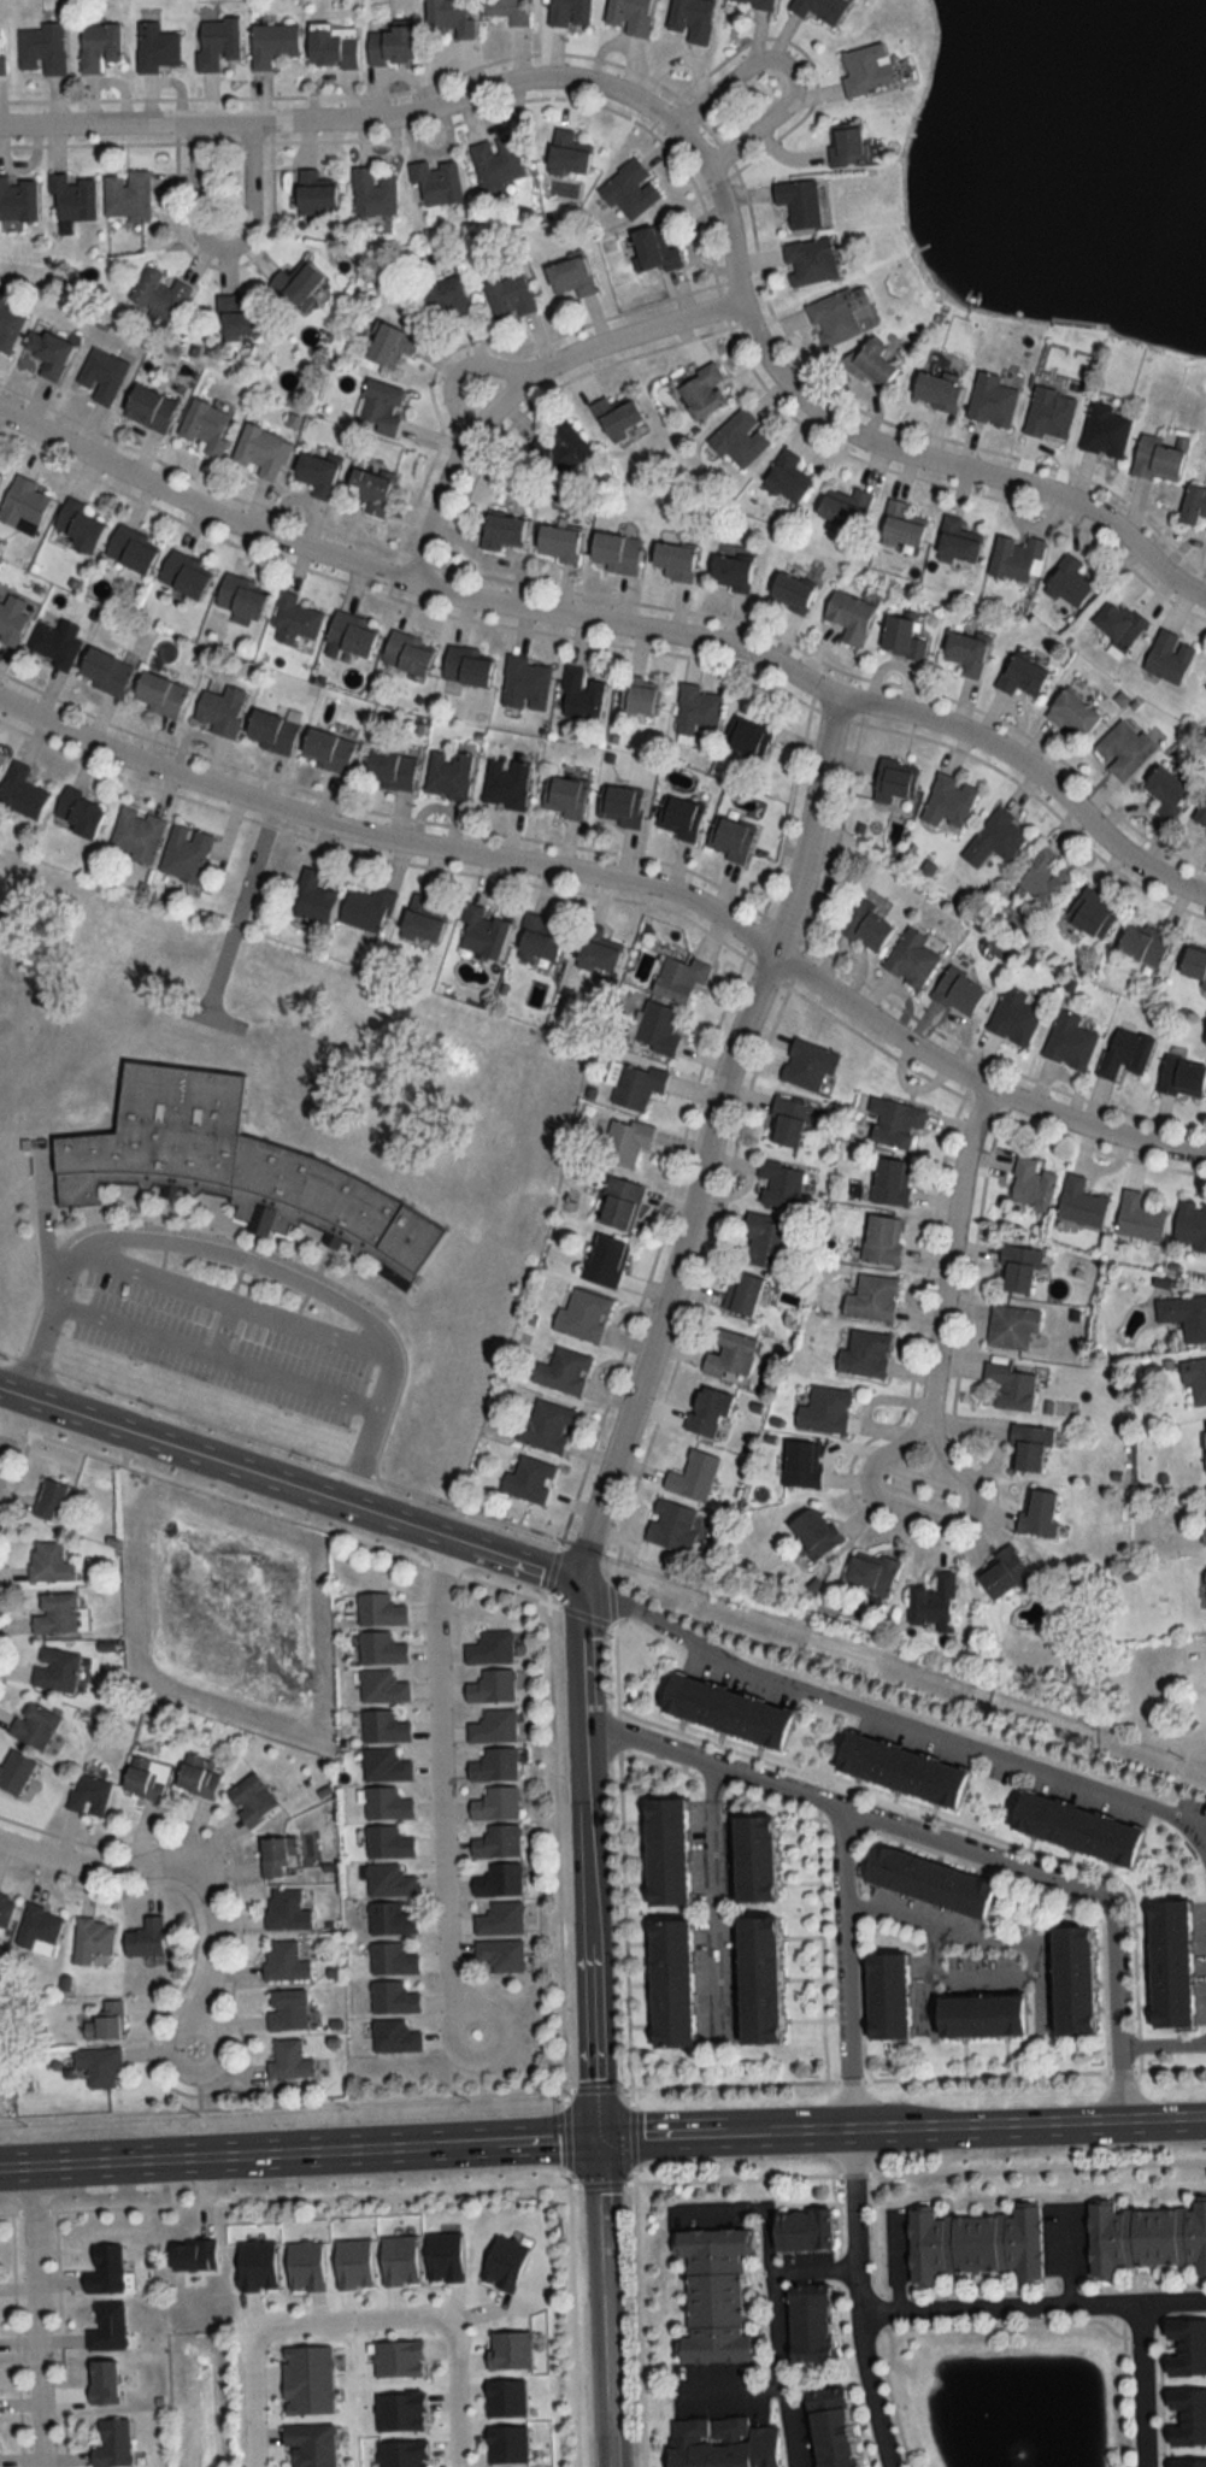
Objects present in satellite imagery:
building: (757, 2)
building: (819, 10)
building: (507, 11)
building: (569, 13)
building: (628, 16)
building: (448, 18)
building: (690, 19)
building: (216, 42)
building: (271, 42)
building: (99, 46)
building: (390, 46)
building: (155, 47)
building: (333, 47)
building: (41, 49)
building: (1, 64)
road: (787, 66)
building: (864, 70)
building: (845, 145)
building: (566, 154)
road: (695, 159)
building: (495, 163)
building: (436, 183)
building: (629, 190)
building: (372, 193)
building: (313, 194)
building: (127, 195)
building: (72, 196)
building: (17, 200)
building: (798, 205)
road: (224, 248)
building: (653, 249)
building: (810, 260)
building: (570, 277)
building: (298, 285)
building: (158, 293)
building: (508, 296)
building: (445, 299)
building: (836, 314)
building: (236, 318)
building: (8, 326)
building: (388, 345)
building: (47, 352)
building: (871, 363)
building: (102, 376)
road: (517, 383)
building: (933, 389)
building: (701, 390)
building: (992, 400)
building: (378, 406)
building: (149, 407)
building: (1049, 412)
building: (616, 416)
building: (204, 426)
building: (1105, 430)
building: (740, 438)
building: (561, 448)
building: (263, 451)
building: (1158, 458)
building: (0, 465)
building: (316, 473)
building: (786, 477)
building: (369, 489)
building: (23, 504)
building: (1193, 504)
building: (842, 507)
building: (80, 525)
building: (900, 528)
building: (501, 531)
building: (957, 540)
building: (558, 542)
building: (131, 547)
building: (614, 552)
building: (1016, 558)
building: (672, 560)
building: (730, 571)
building: (183, 572)
building: (1069, 581)
building: (789, 590)
building: (240, 595)
building: (848, 616)
building: (12, 617)
building: (293, 619)
building: (1118, 623)
road: (619, 625)
building: (352, 632)
building: (901, 637)
building: (54, 642)
building: (407, 652)
building: (965, 652)
building: (1167, 655)
building: (467, 665)
building: (104, 671)
building: (1022, 675)
building: (525, 683)
building: (159, 694)
building: (580, 694)
building: (641, 695)
building: (220, 710)
building: (698, 711)
building: (1072, 713)
building: (270, 729)
building: (748, 735)
building: (1123, 748)
building: (326, 749)
building: (1, 756)
building: (389, 770)
building: (447, 773)
building: (894, 779)
building: (505, 783)
building: (1165, 789)
building: (20, 790)
building: (564, 796)
building: (948, 802)
building: (622, 805)
building: (1201, 811)
building: (80, 812)
building: (678, 817)
building: (136, 835)
road: (383, 836)
building: (995, 837)
building: (729, 838)
building: (186, 853)
building: (1045, 877)
building: (312, 897)
building: (366, 909)
building: (1090, 913)
building: (420, 922)
building: (867, 926)
building: (481, 932)
building: (537, 941)
building: (1142, 943)
building: (596, 950)
building: (911, 959)
building: (1194, 964)
building: (680, 977)
building: (958, 991)
building: (1013, 1017)
building: (657, 1028)
building: (1069, 1041)
building: (1125, 1052)
building: (808, 1064)
building: (1182, 1077)
road: (976, 1079)
building: (636, 1085)
building: (788, 1121)
building: (898, 1124)
road: (705, 1138)
building: (625, 1141)
building: (236, 1168)
building: (892, 1180)
building: (780, 1184)
building: (1031, 1184)
building: (1081, 1202)
building: (619, 1203)
building: (1139, 1217)
building: (1190, 1224)
building: (882, 1240)
building: (766, 1241)
building: (605, 1261)
building: (1017, 1268)
road: (53, 1273)
road: (301, 1284)
road: (941, 1284)
building: (742, 1293)
building: (871, 1297)
road: (234, 1302)
building: (583, 1315)
building: (1184, 1315)
building: (1012, 1326)
road: (223, 1327)
building: (730, 1354)
building: (864, 1354)
road: (218, 1355)
building: (564, 1371)
building: (1195, 1380)
building: (1011, 1385)
building: (707, 1409)
building: (824, 1409)
road: (6, 1415)
building: (546, 1426)
building: (1205, 1430)
building: (1029, 1448)
building: (802, 1464)
building: (694, 1476)
building: (529, 1480)
road: (288, 1485)
building: (58, 1502)
building: (1039, 1512)
building: (1204, 1524)
building: (671, 1525)
building: (814, 1535)
building: (49, 1562)
building: (871, 1572)
building: (1002, 1573)
building: (1205, 1583)
building: (934, 1602)
building: (380, 1611)
building: (57, 1614)
building: (381, 1648)
building: (490, 1648)
building: (55, 1670)
building: (382, 1686)
building: (492, 1686)
road: (551, 1707)
building: (725, 1711)
road: (883, 1715)
building: (34, 1725)
building: (384, 1726)
building: (494, 1726)
building: (386, 1765)
building: (495, 1765)
building: (901, 1770)
building: (14, 1772)
building: (146, 1778)
building: (196, 1778)
road: (439, 1792)
building: (89, 1795)
building: (252, 1800)
building: (387, 1803)
building: (496, 1803)
road: (1204, 1827)
building: (1076, 1829)
road: (1204, 1835)
road: (953, 1841)
building: (388, 1842)
building: (498, 1842)
building: (666, 1851)
building: (276, 1855)
road: (587, 1859)
building: (753, 1859)
road: (182, 1873)
building: (389, 1880)
building: (499, 1880)
building: (928, 1880)
road: (720, 1896)
building: (6, 1909)
building: (286, 1909)
building: (390, 1919)
building: (501, 1919)
building: (39, 1926)
road: (988, 1935)
building: (146, 1938)
building: (92, 1939)
building: (501, 1955)
building: (393, 1959)
building: (284, 1961)
building: (1170, 1963)
road: (846, 1965)
road: (928, 1978)
building: (758, 1979)
building: (1072, 1979)
building: (671, 1983)
building: (887, 1996)
building: (393, 1997)
building: (287, 2009)
building: (979, 2016)
building: (104, 2023)
building: (395, 2036)
road: (1164, 2041)
building: (289, 2060)
building: (100, 2066)
road: (884, 2080)
road: (1029, 2122)
road: (723, 2133)
traffic signals: (595, 2138)
road: (318, 2151)
road: (20, 2167)
road: (887, 2173)
road: (722, 2207)
building: (802, 2231)
building: (1145, 2238)
building: (975, 2243)
road: (1067, 2254)
building: (193, 2255)
road: (898, 2260)
road: (813, 2266)
building: (105, 2269)
building: (713, 2296)
road: (858, 2300)
road: (600, 2302)
road: (1031, 2302)
road: (47, 2316)
road: (345, 2320)
building: (107, 2326)
building: (808, 2327)
road: (776, 2337)
building: (1187, 2348)
building: (399, 2359)
building: (102, 2381)
road: (1145, 2383)
road: (730, 2385)
road: (455, 2391)
road: (254, 2401)
building: (1188, 2418)
building: (830, 2432)
building: (720, 2443)
building: (112, 2444)
building: (310, 2445)
building: (1189, 2463)

